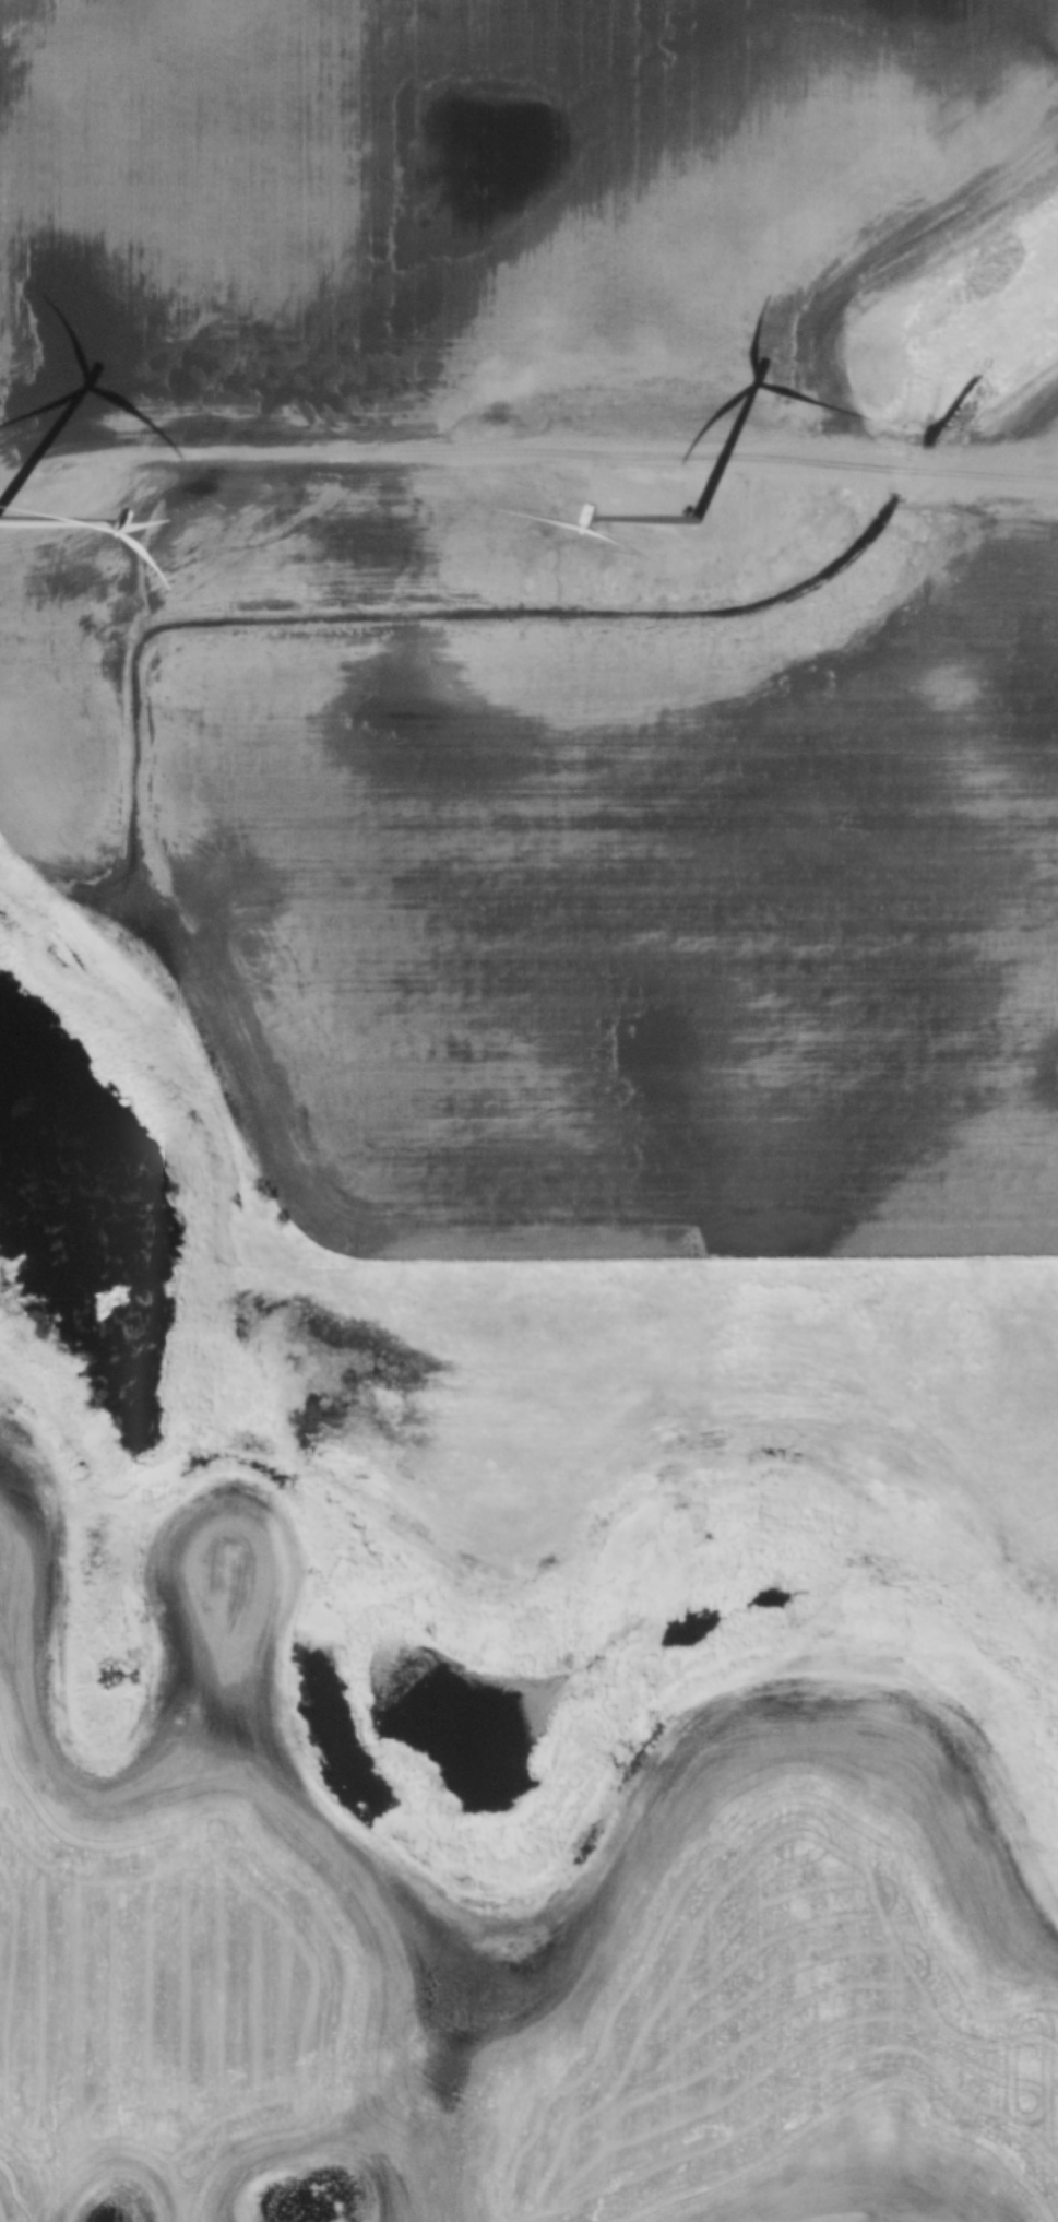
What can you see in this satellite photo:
wind turbine: (693, 523)

